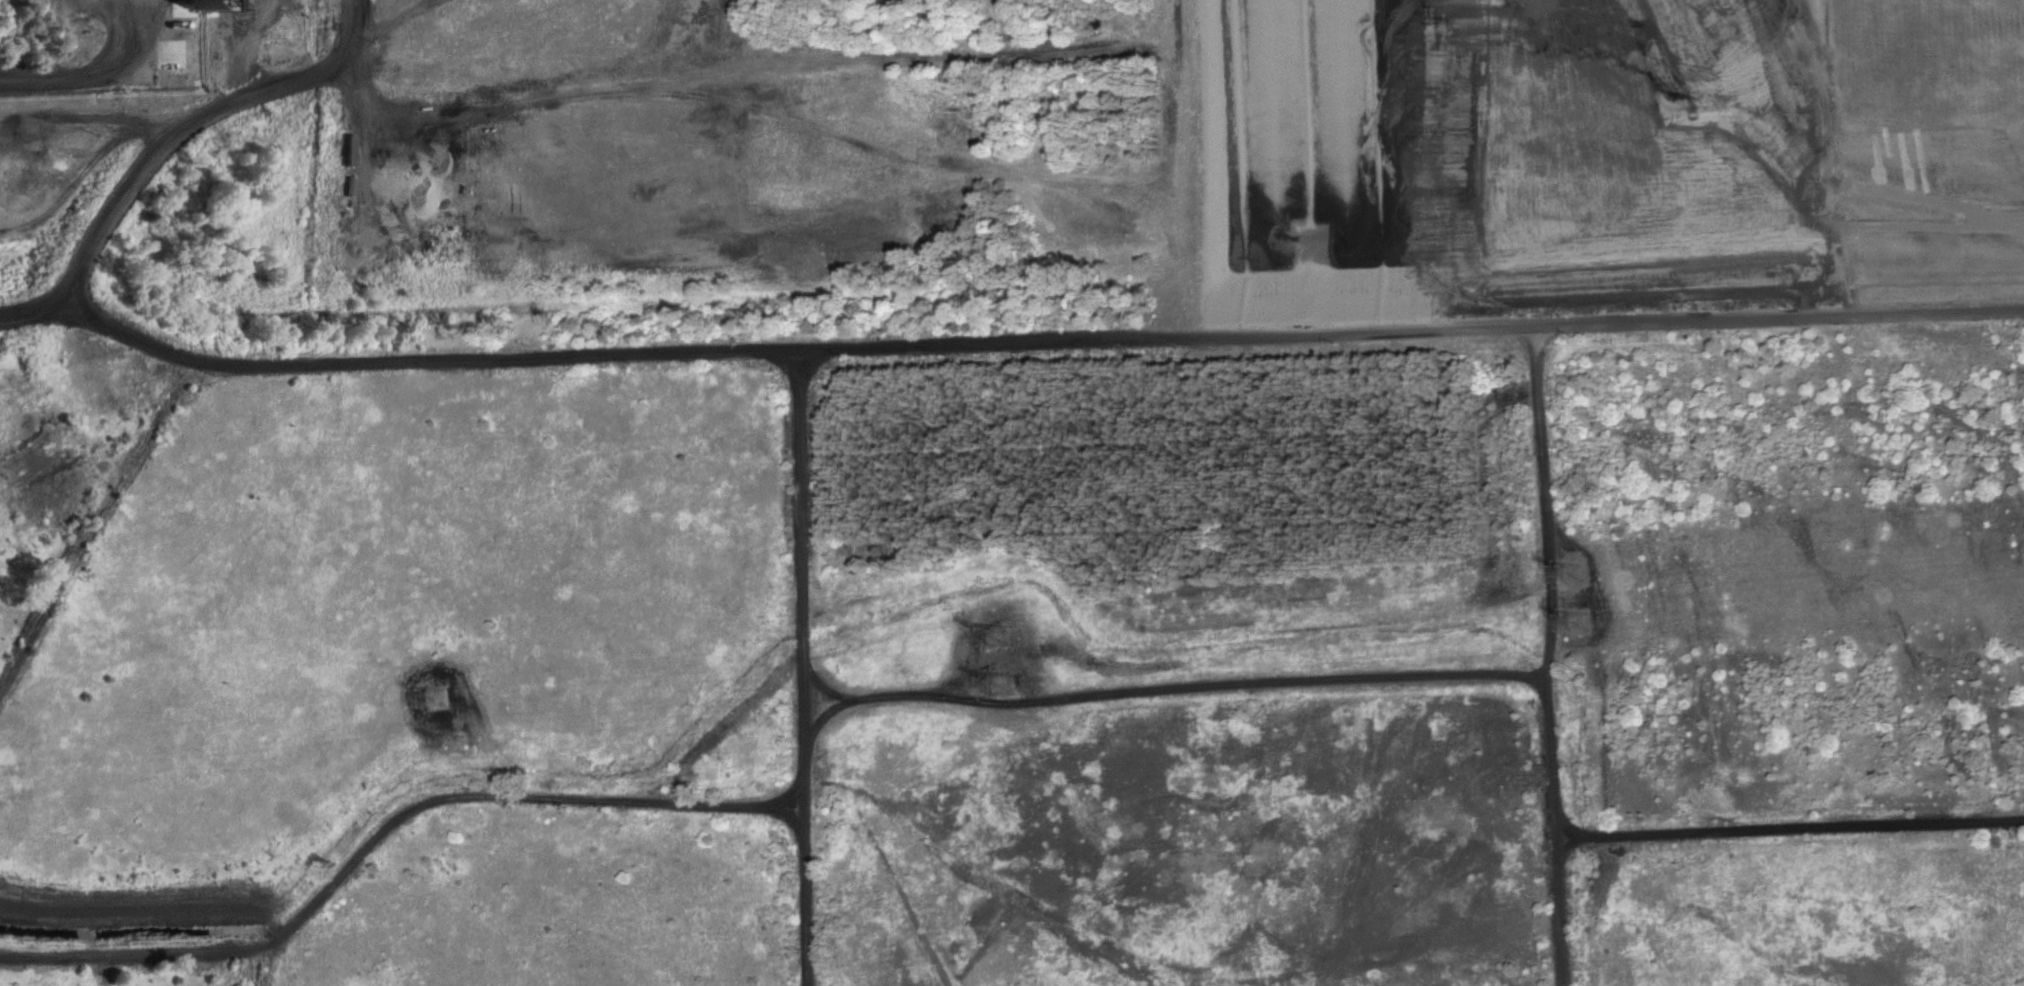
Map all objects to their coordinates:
road: (124, 41)
road: (63, 83)
road: (167, 142)
power tower: (1577, 575)
power tower: (1580, 623)
power tower: (1001, 639)
power tower: (1007, 685)
power tower: (439, 700)
power tower: (462, 746)

